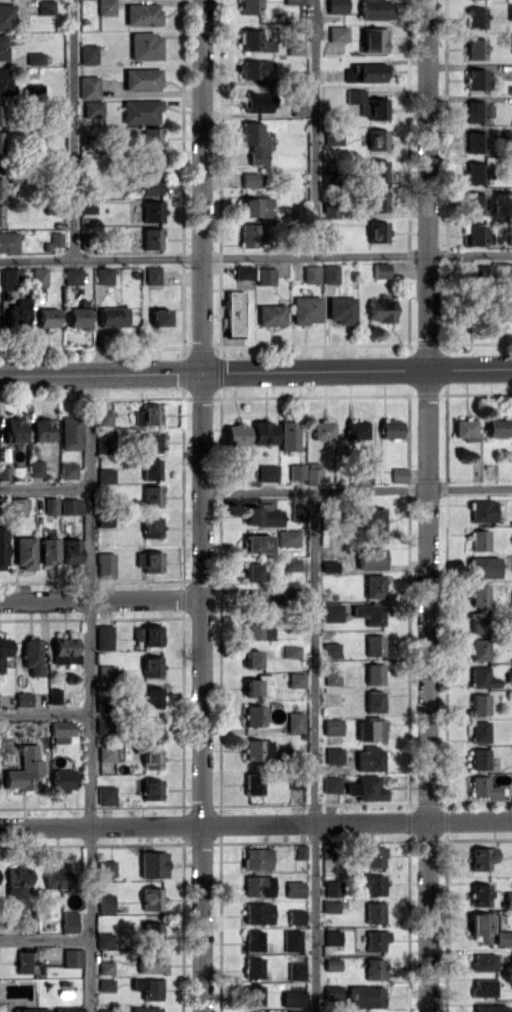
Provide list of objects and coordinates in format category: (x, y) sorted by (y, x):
building: (291, 2)
building: (249, 6)
building: (336, 6)
building: (45, 7)
building: (105, 7)
building: (375, 9)
building: (510, 11)
building: (142, 14)
building: (6, 16)
building: (475, 17)
building: (337, 33)
building: (253, 40)
building: (374, 40)
building: (511, 43)
building: (145, 45)
building: (3, 46)
building: (294, 47)
building: (475, 48)
building: (87, 53)
building: (34, 57)
building: (253, 68)
building: (364, 72)
building: (142, 78)
building: (476, 79)
building: (5, 81)
building: (88, 87)
building: (34, 89)
building: (256, 102)
building: (367, 104)
building: (93, 108)
building: (298, 108)
building: (140, 111)
building: (475, 111)
road: (314, 128)
road: (72, 130)
building: (150, 137)
building: (332, 137)
building: (377, 139)
building: (253, 142)
building: (475, 142)
building: (377, 169)
building: (475, 173)
building: (152, 174)
building: (250, 179)
building: (1, 188)
building: (377, 200)
building: (475, 203)
building: (255, 207)
building: (330, 208)
building: (152, 210)
building: (1, 215)
building: (377, 231)
building: (250, 234)
building: (475, 234)
building: (151, 238)
building: (8, 241)
road: (255, 257)
building: (380, 269)
building: (243, 272)
building: (329, 273)
building: (10, 274)
building: (152, 274)
building: (311, 274)
building: (39, 275)
building: (72, 275)
building: (103, 275)
building: (265, 275)
building: (305, 309)
building: (340, 309)
building: (381, 309)
building: (504, 311)
building: (16, 313)
building: (233, 313)
building: (271, 314)
building: (78, 315)
building: (112, 316)
building: (46, 317)
building: (159, 317)
road: (256, 372)
building: (147, 414)
building: (103, 418)
building: (496, 427)
building: (390, 428)
building: (41, 429)
building: (322, 429)
building: (464, 429)
building: (14, 430)
building: (355, 430)
building: (69, 432)
building: (264, 432)
building: (236, 434)
building: (288, 435)
building: (103, 441)
building: (151, 442)
building: (35, 468)
building: (151, 469)
building: (68, 470)
building: (4, 472)
building: (267, 472)
building: (295, 472)
building: (313, 472)
building: (398, 474)
building: (105, 475)
road: (44, 486)
road: (356, 489)
building: (151, 496)
building: (50, 504)
building: (70, 504)
road: (201, 505)
building: (19, 506)
road: (426, 506)
building: (482, 510)
building: (297, 512)
building: (261, 515)
building: (373, 524)
building: (151, 526)
building: (287, 538)
building: (511, 538)
building: (478, 540)
building: (257, 543)
building: (3, 548)
building: (49, 551)
building: (71, 551)
building: (24, 552)
building: (370, 558)
building: (148, 560)
building: (511, 563)
building: (105, 564)
building: (291, 564)
building: (327, 565)
building: (484, 567)
building: (251, 572)
building: (375, 585)
building: (478, 594)
building: (511, 597)
road: (100, 599)
building: (331, 611)
building: (369, 612)
building: (479, 622)
building: (256, 631)
building: (147, 634)
building: (104, 637)
building: (373, 644)
building: (511, 646)
building: (4, 649)
building: (478, 649)
building: (64, 650)
building: (292, 651)
building: (32, 655)
building: (251, 658)
building: (151, 666)
building: (106, 671)
building: (373, 673)
building: (511, 674)
building: (332, 677)
building: (482, 677)
building: (296, 680)
building: (258, 686)
road: (89, 693)
building: (53, 695)
building: (148, 696)
building: (23, 698)
building: (373, 701)
building: (478, 704)
road: (44, 713)
building: (253, 715)
building: (295, 721)
building: (102, 725)
building: (332, 726)
building: (151, 727)
building: (369, 730)
building: (61, 731)
building: (478, 731)
building: (257, 749)
road: (314, 751)
building: (106, 753)
building: (333, 755)
building: (151, 758)
building: (369, 758)
building: (478, 758)
building: (24, 768)
building: (511, 777)
building: (62, 779)
building: (253, 783)
building: (330, 784)
building: (366, 788)
building: (483, 788)
building: (151, 789)
building: (106, 794)
road: (256, 823)
building: (327, 850)
building: (300, 851)
building: (374, 856)
building: (511, 856)
building: (481, 857)
building: (256, 858)
building: (152, 864)
building: (105, 869)
building: (57, 878)
building: (16, 883)
building: (373, 884)
building: (257, 885)
building: (294, 888)
building: (333, 888)
building: (479, 894)
building: (151, 898)
building: (508, 898)
building: (105, 902)
building: (330, 906)
building: (257, 912)
building: (373, 912)
building: (295, 916)
building: (68, 921)
building: (479, 926)
building: (151, 932)
building: (332, 937)
road: (44, 938)
building: (502, 938)
building: (104, 939)
building: (292, 939)
building: (253, 940)
building: (375, 940)
building: (72, 957)
building: (482, 961)
building: (25, 962)
building: (149, 963)
building: (332, 963)
building: (105, 967)
building: (253, 967)
building: (373, 968)
building: (296, 971)
building: (105, 984)
building: (482, 987)
building: (147, 988)
building: (331, 991)
building: (252, 995)
building: (365, 996)
building: (293, 998)
building: (489, 1008)
building: (31, 1009)
building: (144, 1009)
building: (68, 1010)
building: (104, 1010)
building: (295, 1011)

